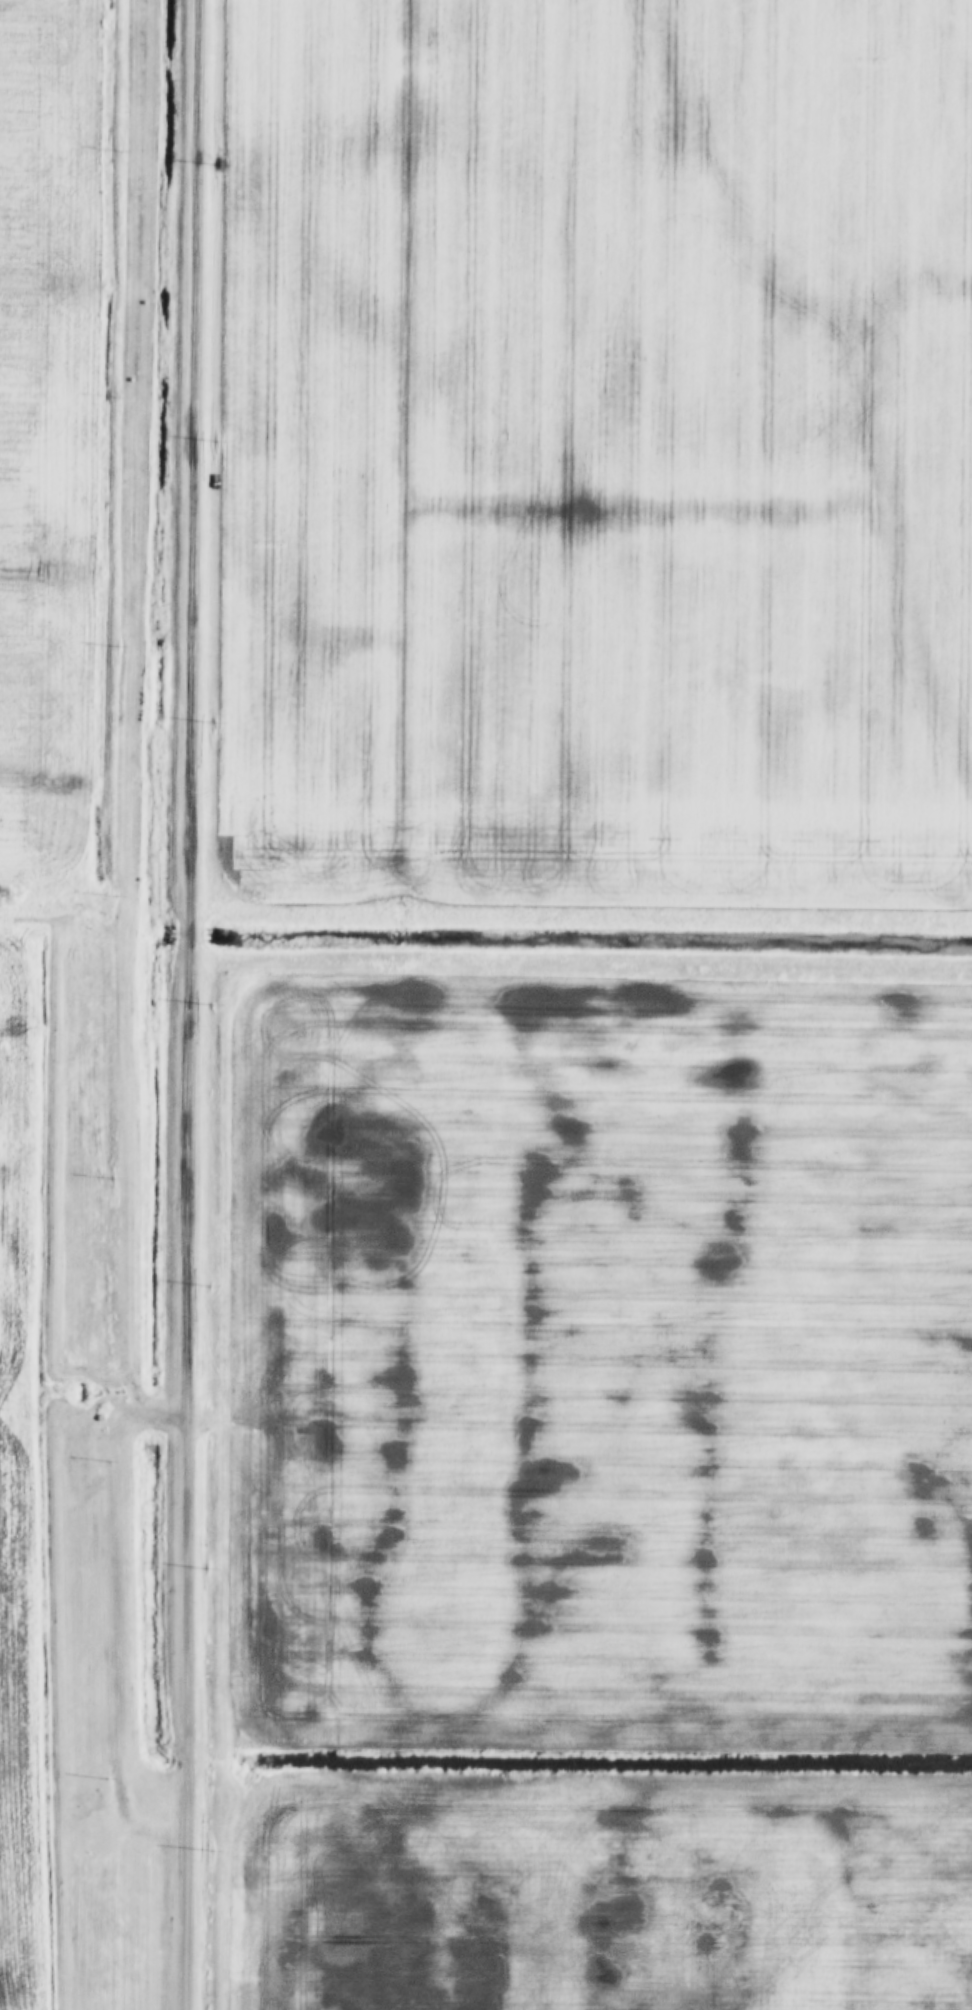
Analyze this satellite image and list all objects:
crop: (45, 439)
road: (193, 1005)
crop: (39, 1434)

